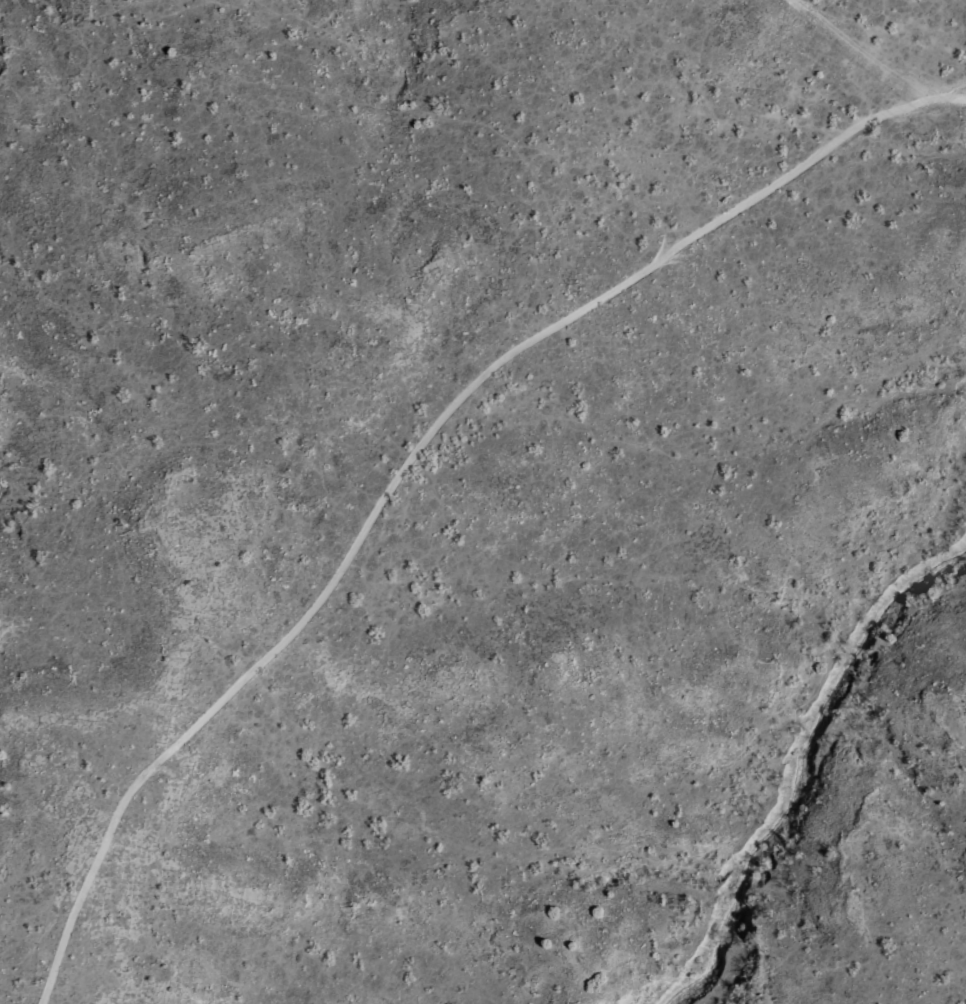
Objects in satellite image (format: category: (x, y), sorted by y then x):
road: (407, 452)

